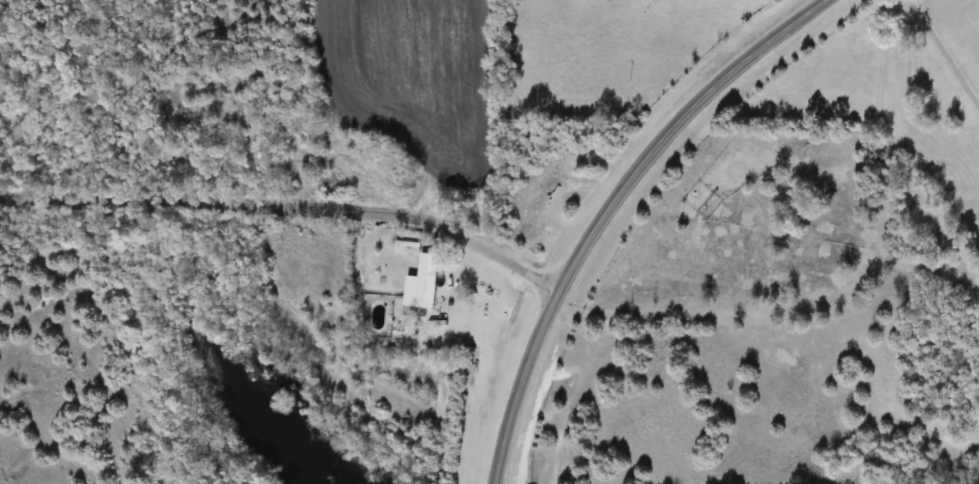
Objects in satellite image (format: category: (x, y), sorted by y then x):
road: (946, 49)
road: (288, 208)
road: (609, 208)
building: (428, 281)

